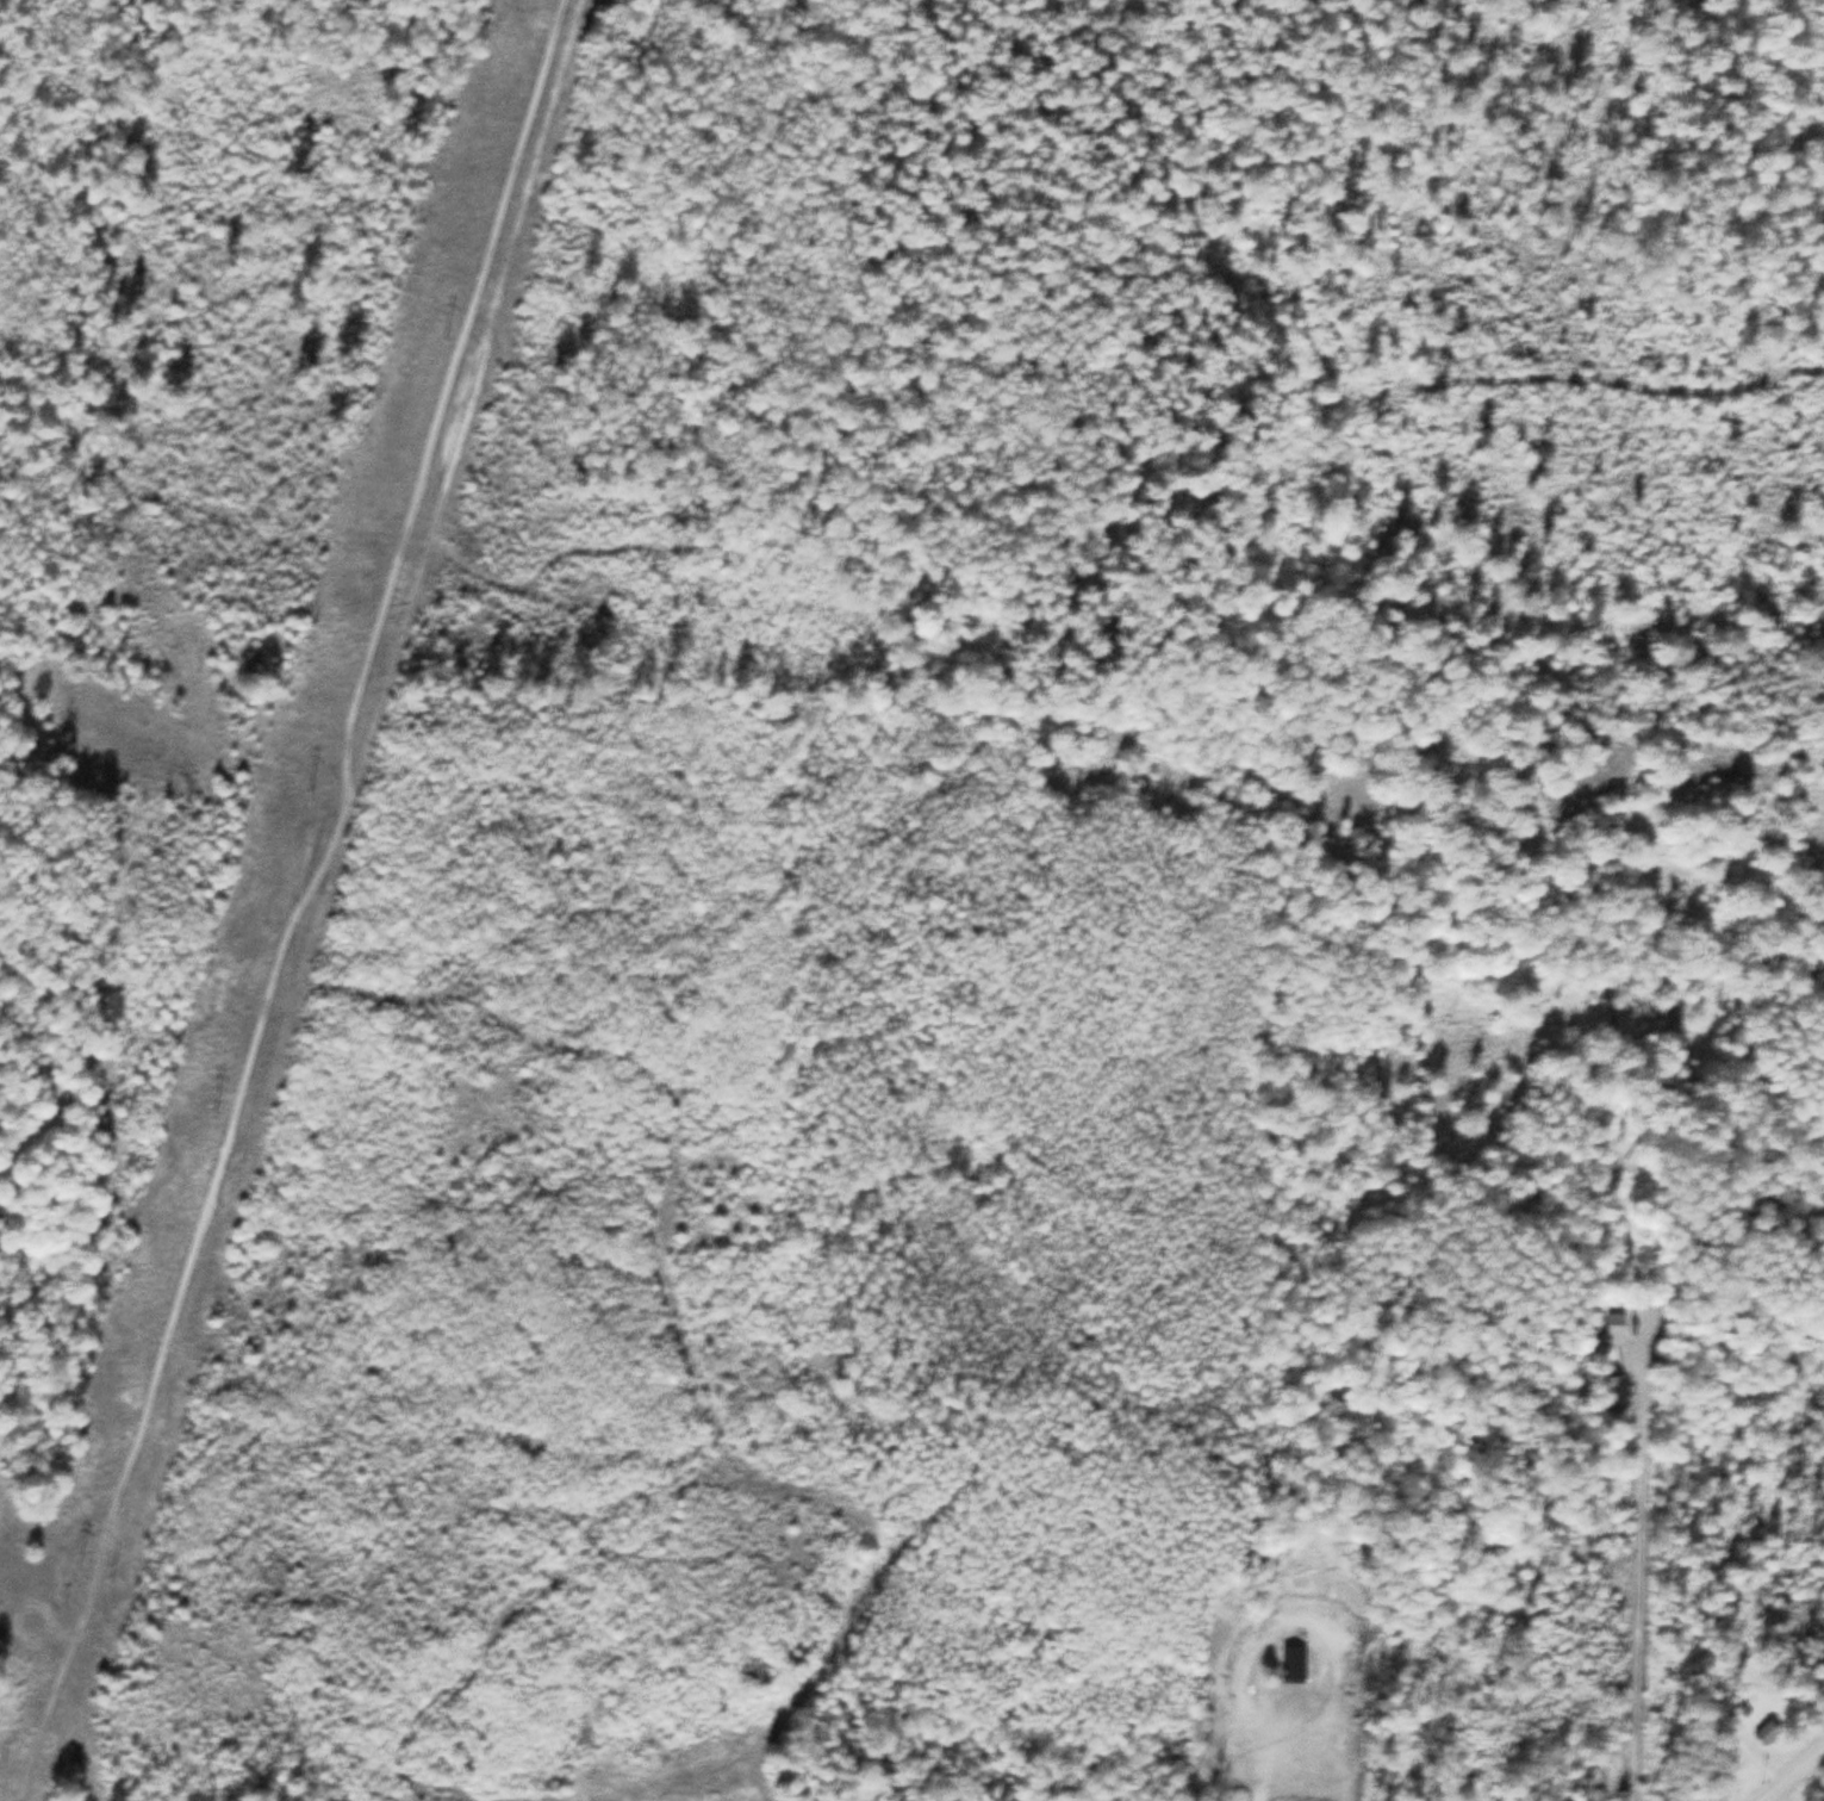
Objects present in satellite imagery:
road: (294, 901)
building: (1607, 1329)
building: (1612, 1389)
building: (1291, 1662)
building: (1766, 1733)
road: (1794, 1776)
road: (363, 1780)

